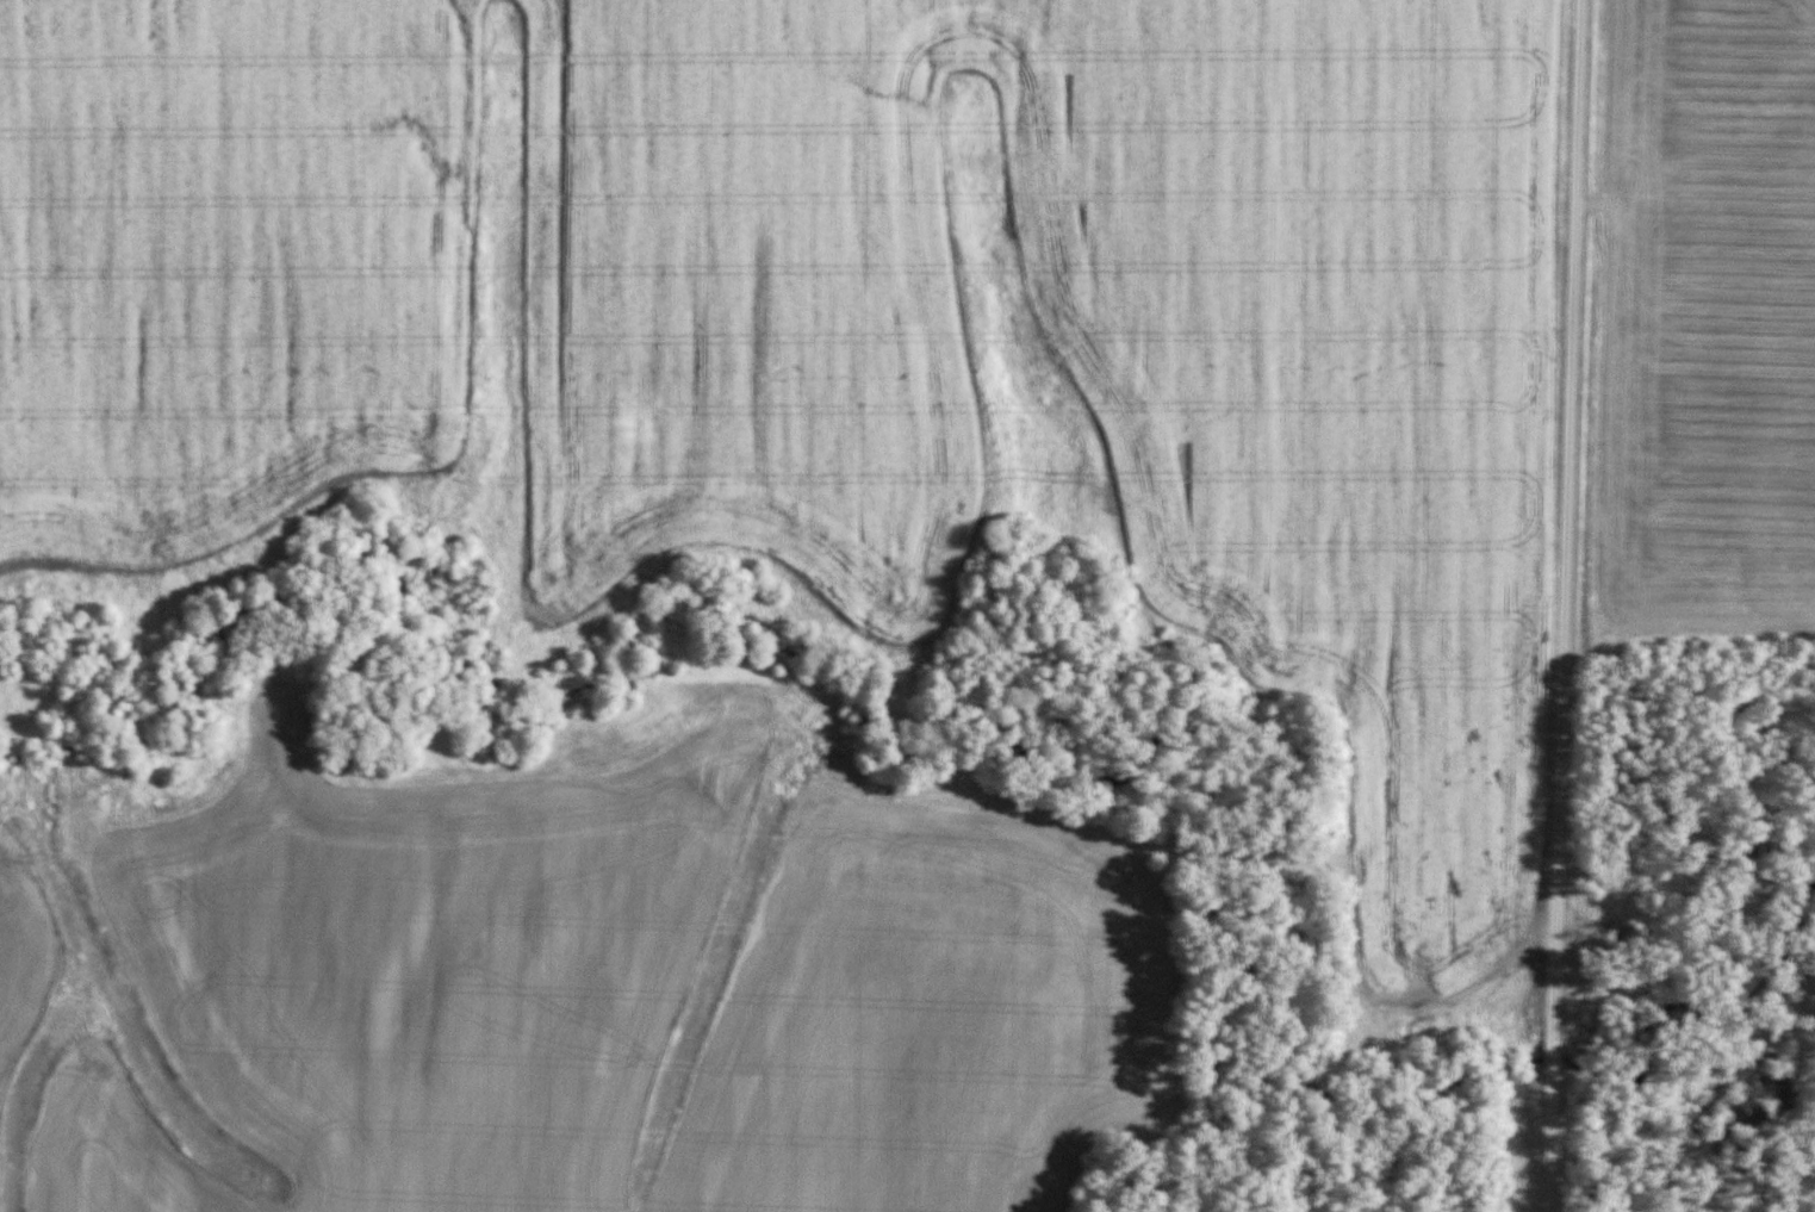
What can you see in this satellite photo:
road: (1562, 605)

